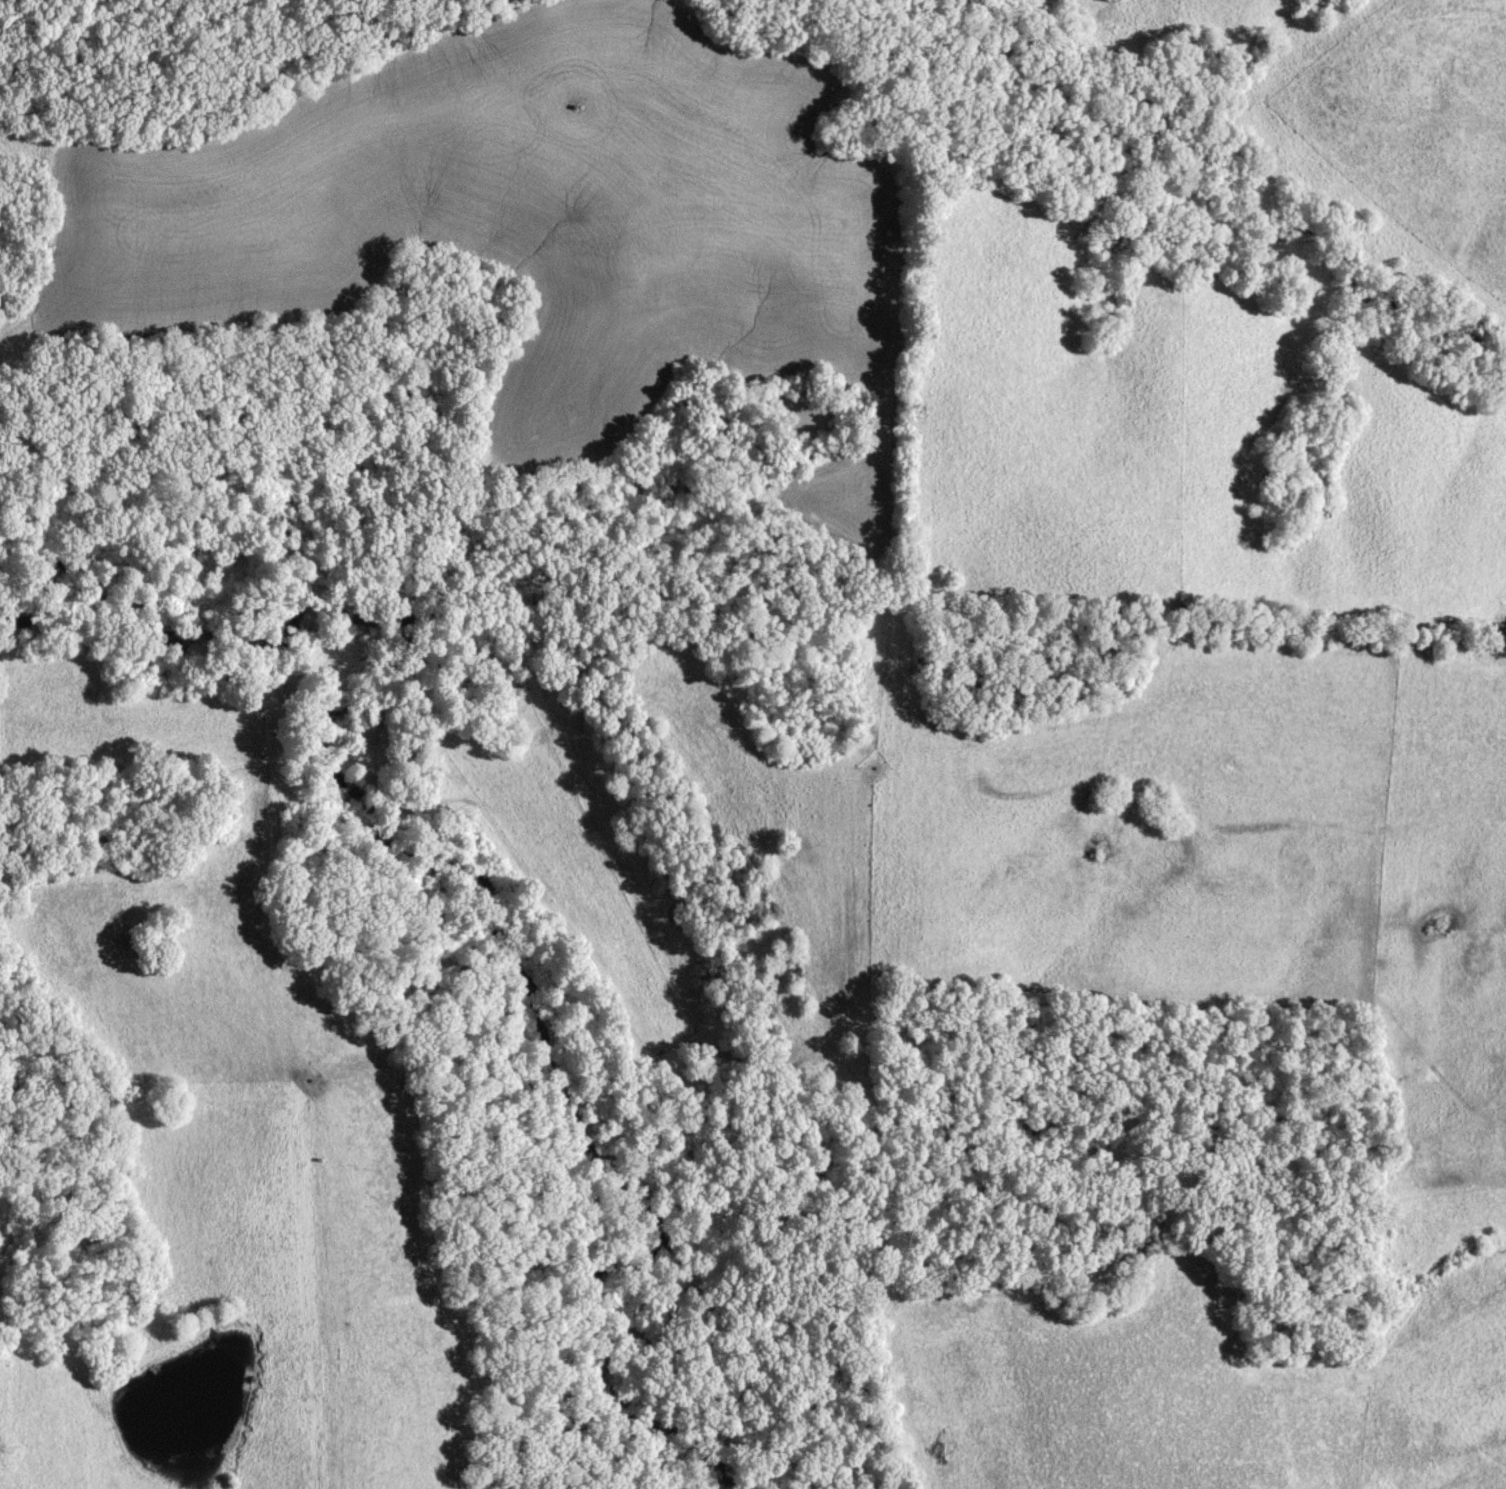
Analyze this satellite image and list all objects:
road: (1261, 394)

